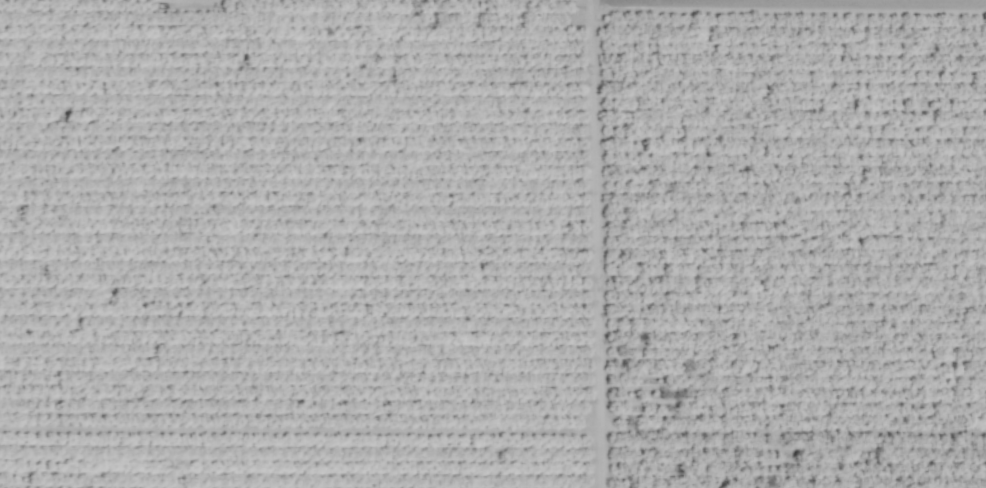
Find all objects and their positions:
road: (597, 167)

